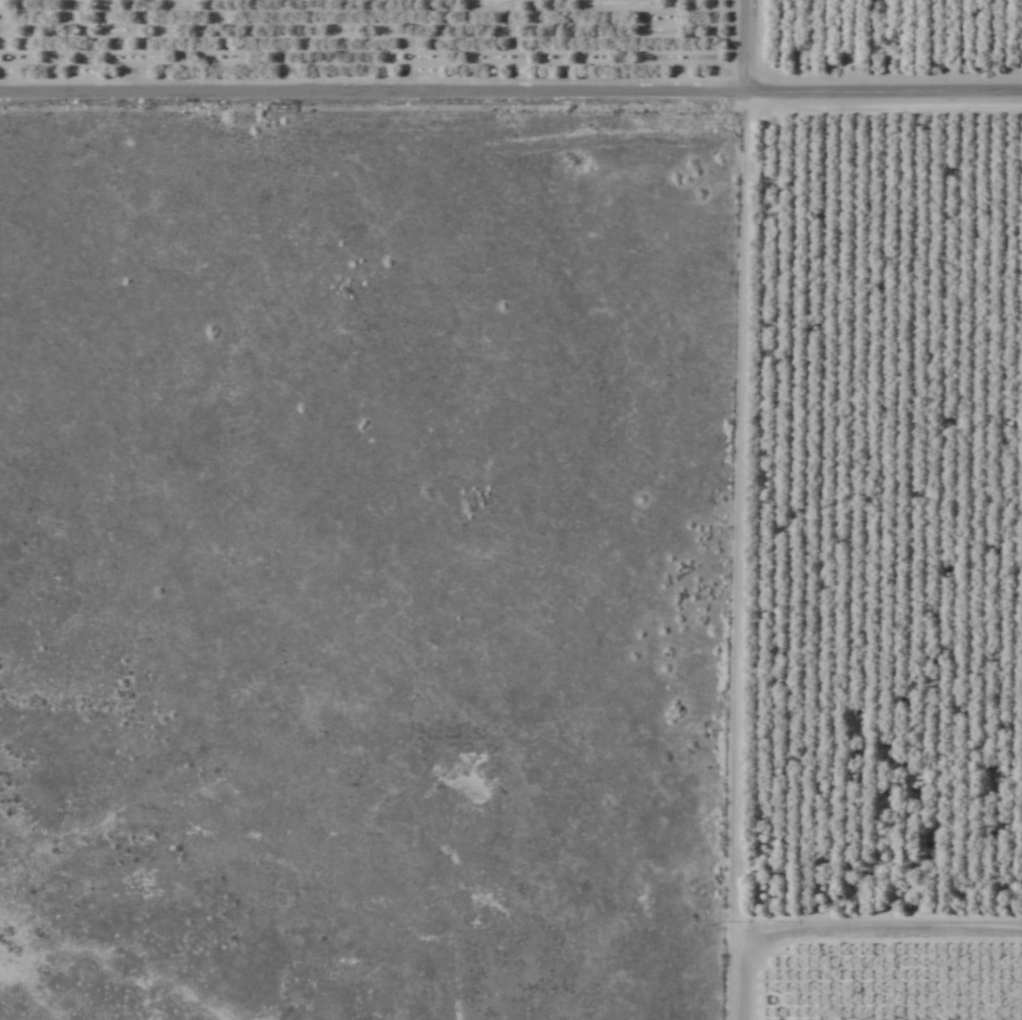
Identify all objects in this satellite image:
road: (744, 47)
road: (510, 95)
crop: (511, 510)
road: (712, 557)

